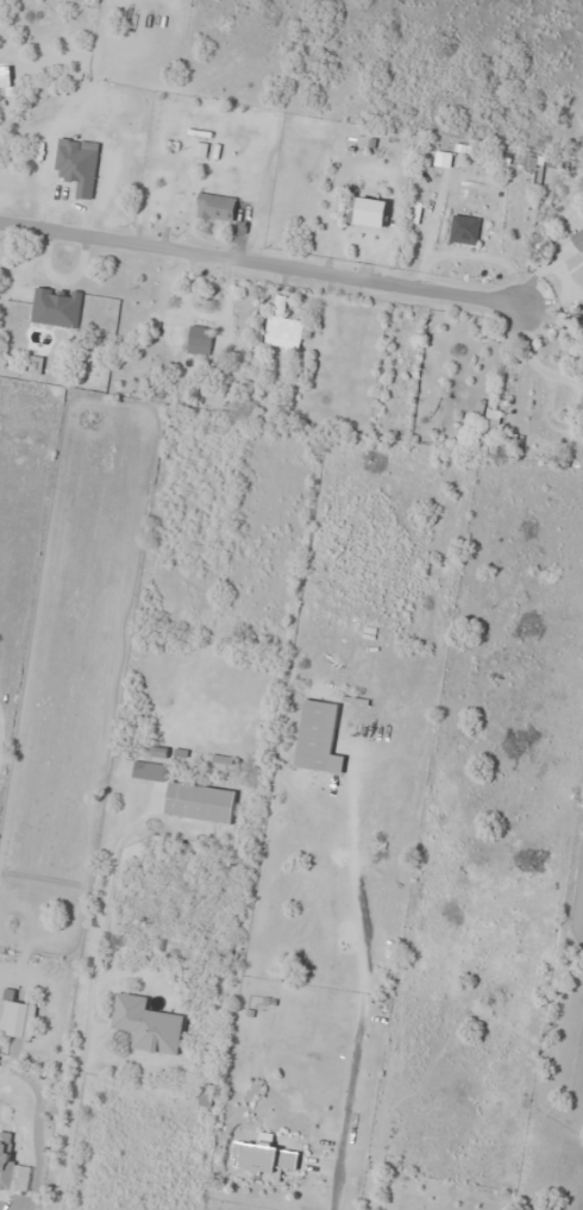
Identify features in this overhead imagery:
building: (79, 164)
building: (215, 207)
building: (368, 211)
building: (579, 238)
road: (261, 265)
building: (57, 306)
building: (282, 326)
building: (200, 339)
building: (319, 738)
building: (150, 771)
building: (200, 802)
building: (18, 1017)
building: (148, 1024)
building: (206, 1095)
building: (7, 1156)
building: (264, 1160)

